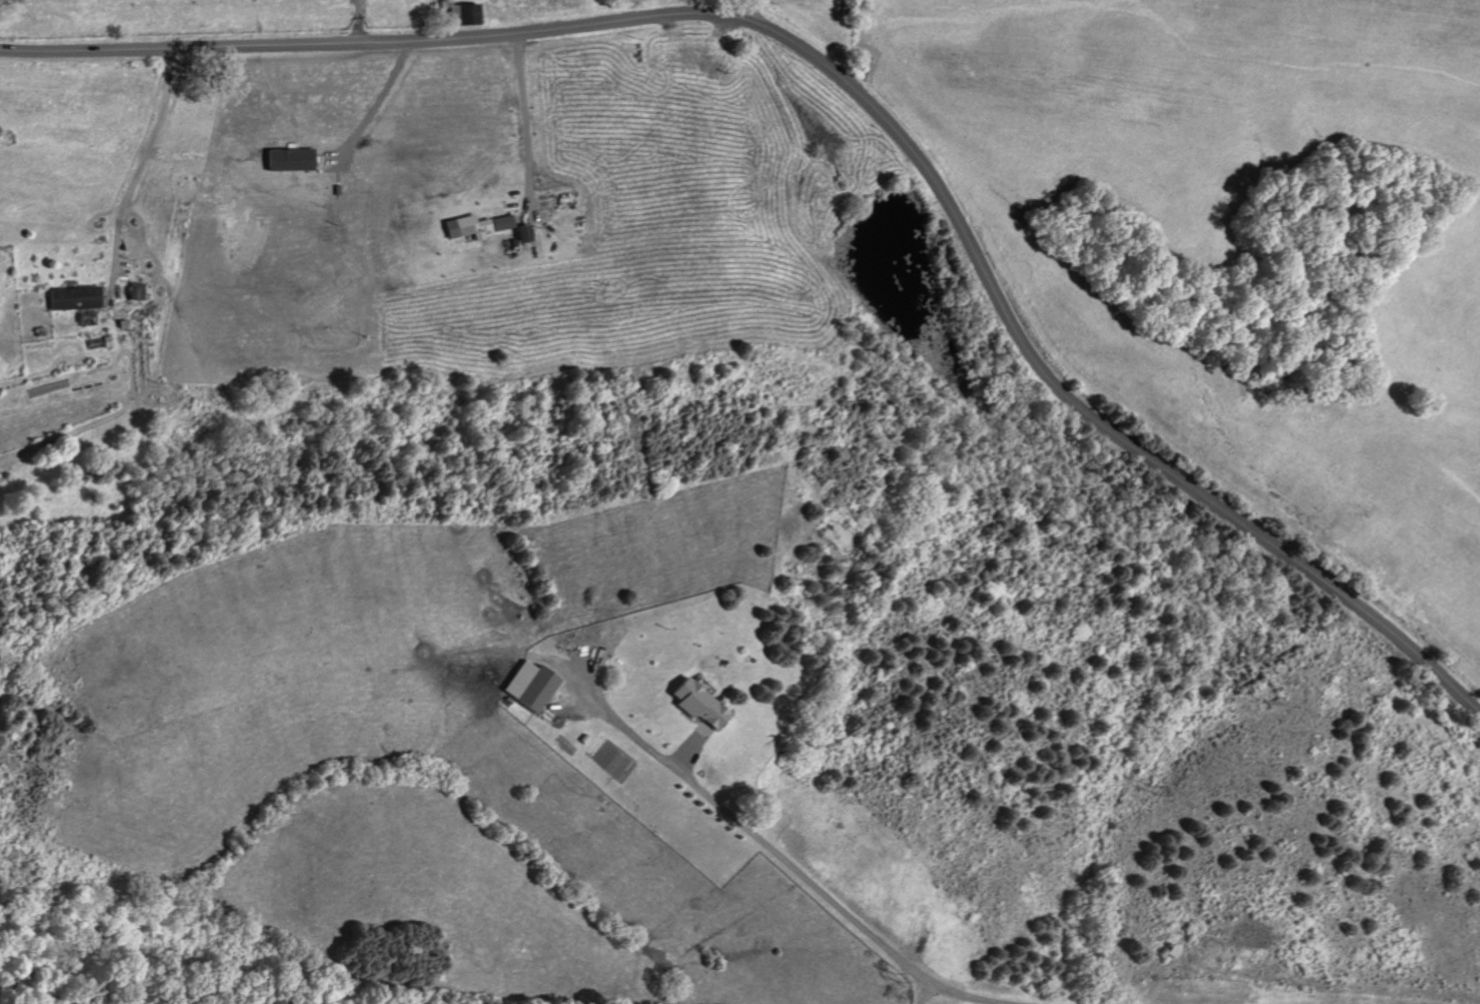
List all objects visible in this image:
road: (753, 10)
road: (860, 97)
road: (372, 102)
road: (526, 120)
road: (141, 163)
building: (501, 222)
building: (465, 228)
building: (133, 291)
building: (72, 297)
building: (527, 685)
building: (693, 703)
road: (788, 866)

